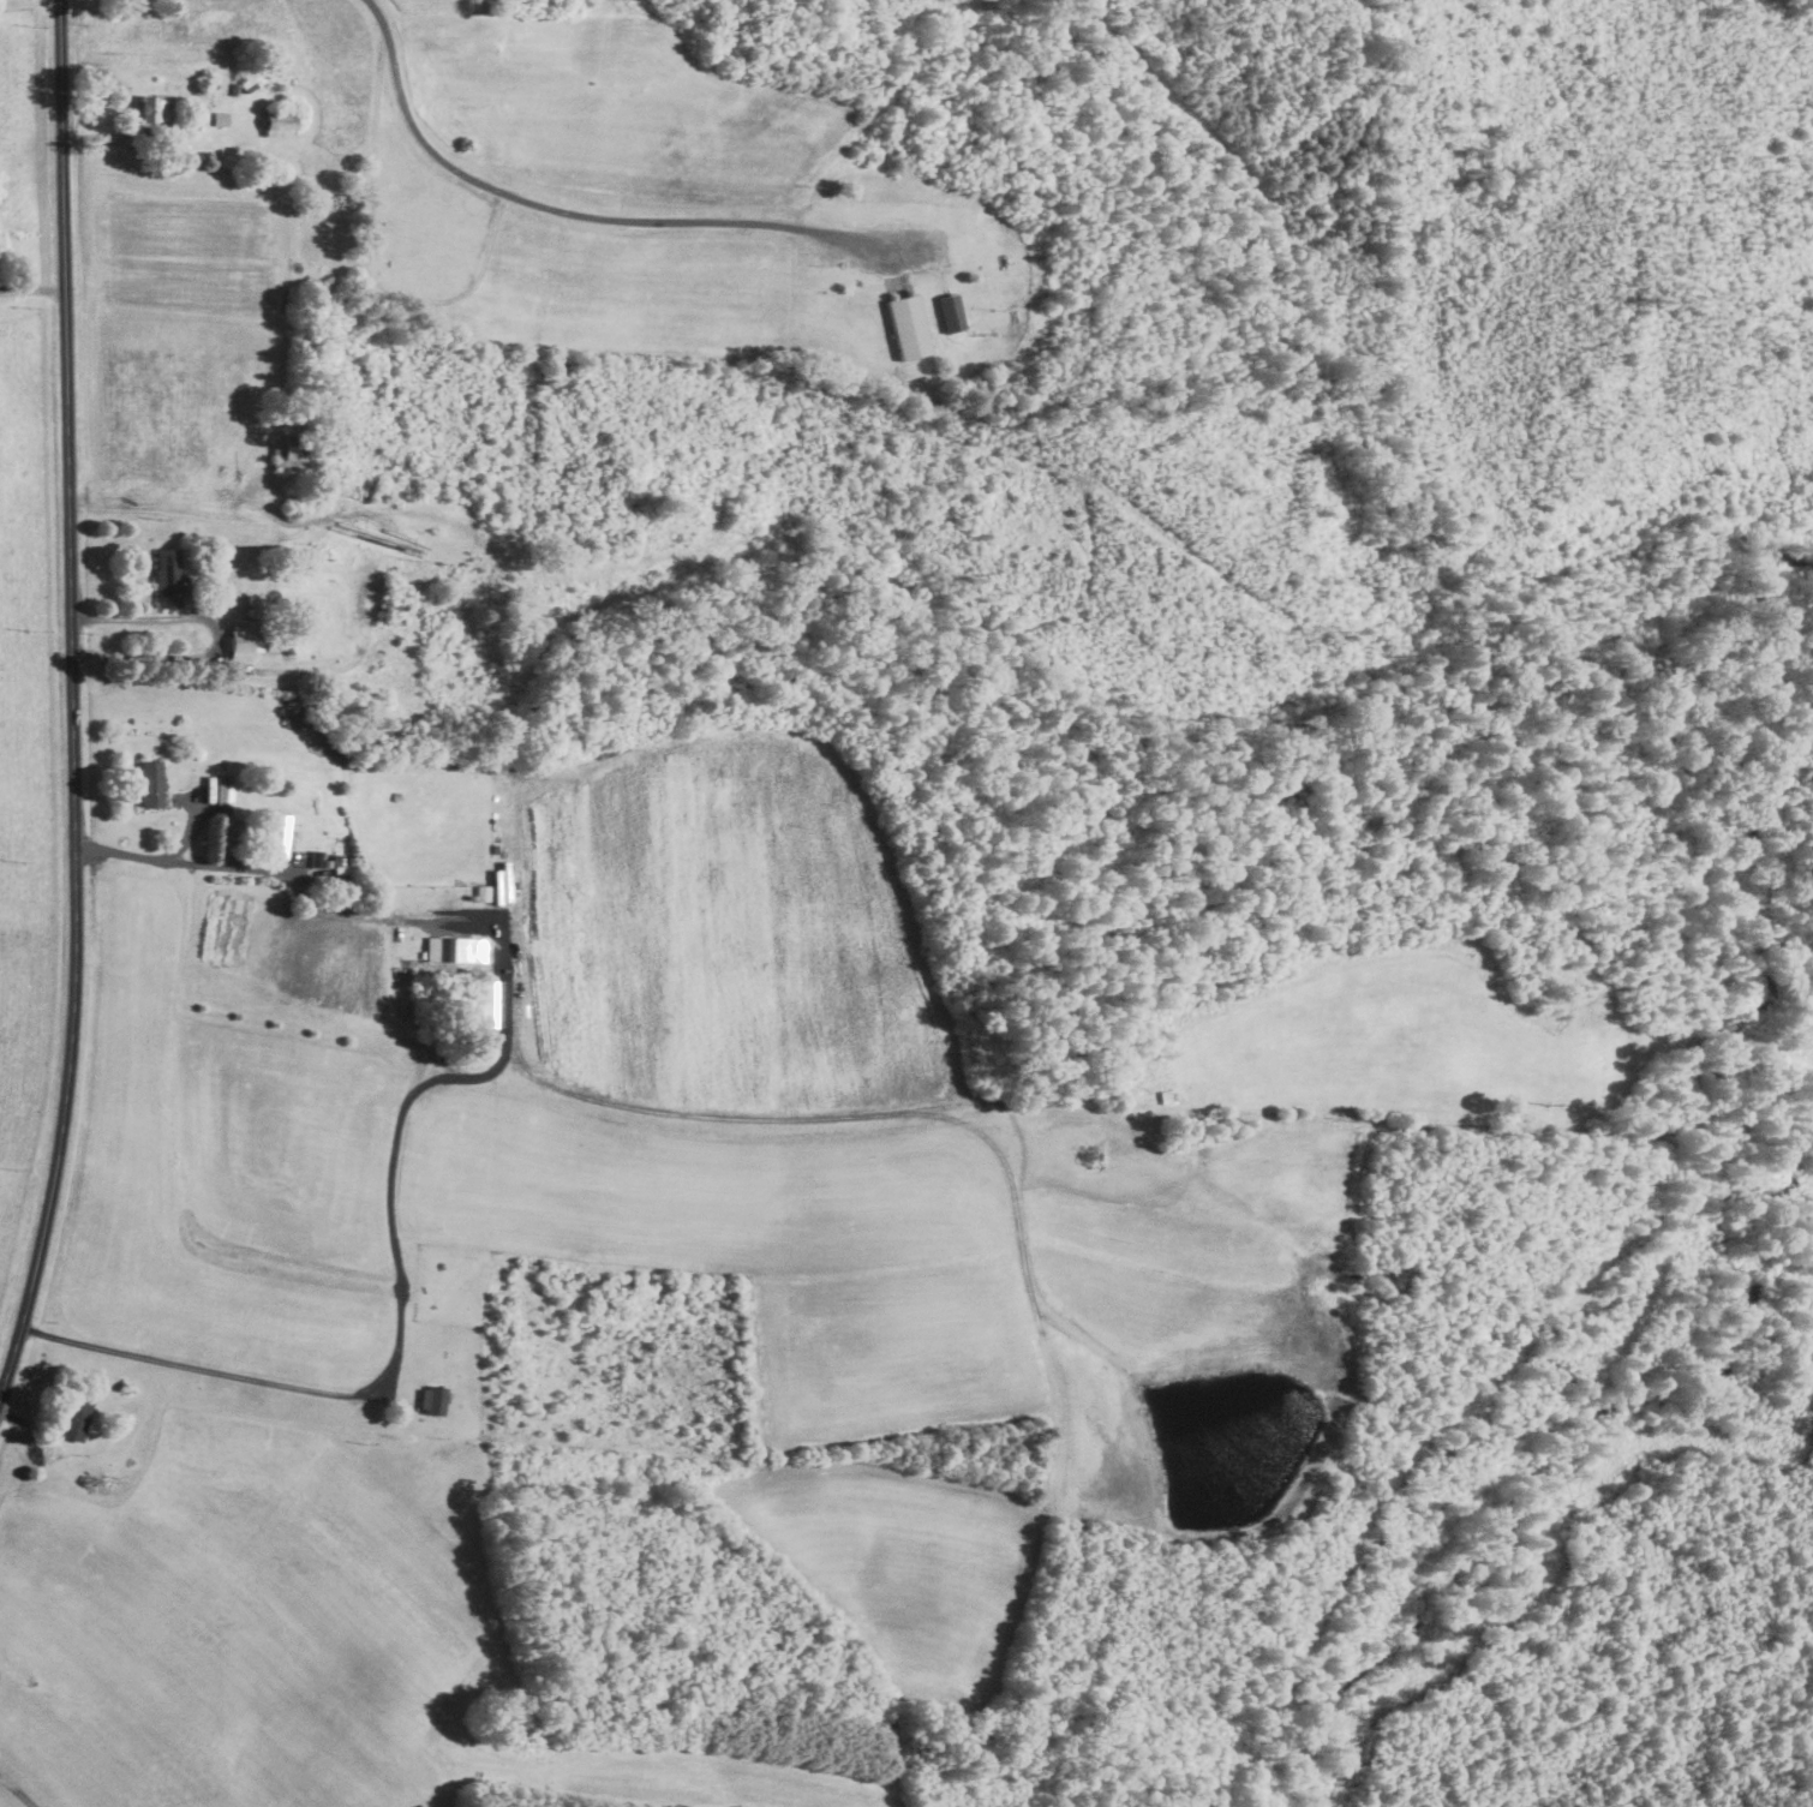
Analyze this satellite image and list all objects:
building: (155, 109)
building: (222, 119)
building: (281, 124)
road: (108, 134)
road: (579, 214)
road: (30, 289)
building: (952, 313)
building: (910, 328)
building: (286, 451)
building: (170, 576)
building: (371, 602)
road: (216, 636)
building: (245, 641)
road: (70, 699)
building: (151, 783)
building: (226, 795)
building: (280, 833)
road: (257, 869)
building: (484, 892)
building: (457, 949)
road: (202, 1370)
building: (435, 1400)
building: (77, 1417)

